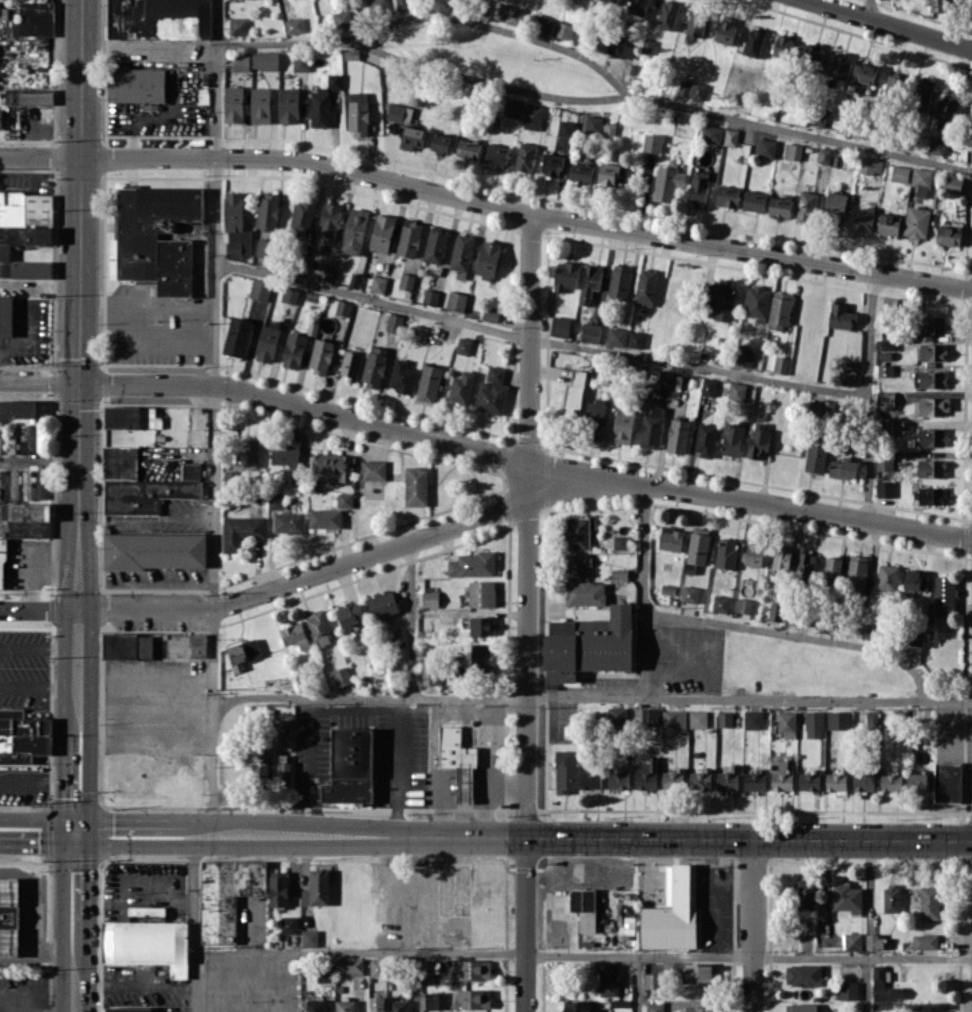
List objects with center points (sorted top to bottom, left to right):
building: (611, 2)
building: (456, 3)
building: (403, 4)
building: (376, 5)
building: (939, 5)
building: (638, 7)
road: (867, 8)
building: (511, 14)
building: (667, 14)
building: (35, 19)
building: (159, 19)
building: (342, 19)
building: (542, 24)
building: (696, 24)
road: (892, 24)
building: (294, 25)
building: (238, 26)
road: (497, 30)
building: (562, 30)
building: (725, 30)
road: (285, 41)
building: (753, 42)
building: (781, 45)
building: (622, 49)
building: (810, 54)
road: (150, 55)
building: (265, 60)
building: (240, 62)
building: (300, 62)
building: (839, 65)
road: (487, 80)
building: (138, 85)
building: (895, 86)
building: (684, 87)
building: (698, 90)
building: (923, 93)
building: (29, 96)
building: (323, 101)
building: (234, 104)
building: (261, 105)
building: (289, 105)
building: (512, 108)
building: (946, 108)
building: (399, 112)
building: (358, 113)
building: (533, 116)
building: (0, 118)
building: (593, 124)
building: (565, 128)
road: (801, 131)
building: (713, 133)
building: (412, 137)
building: (730, 137)
building: (441, 142)
building: (652, 142)
building: (934, 145)
building: (468, 148)
building: (766, 148)
building: (793, 151)
building: (496, 154)
building: (823, 155)
building: (525, 157)
building: (551, 164)
building: (871, 166)
building: (581, 172)
building: (609, 173)
building: (899, 173)
building: (921, 181)
building: (667, 182)
building: (951, 184)
building: (698, 186)
building: (727, 196)
building: (754, 200)
road: (487, 201)
building: (780, 205)
building: (806, 205)
building: (835, 205)
building: (268, 210)
building: (303, 214)
building: (862, 219)
building: (329, 221)
building: (917, 222)
building: (888, 223)
building: (236, 226)
building: (25, 231)
building: (355, 231)
building: (382, 233)
building: (157, 235)
building: (948, 235)
building: (409, 238)
building: (436, 245)
building: (265, 248)
building: (462, 255)
building: (488, 259)
building: (565, 275)
building: (619, 280)
building: (406, 281)
building: (590, 281)
building: (378, 284)
building: (646, 287)
building: (260, 289)
building: (290, 295)
building: (430, 297)
building: (456, 301)
building: (721, 302)
building: (757, 302)
road: (148, 303)
building: (343, 307)
building: (779, 310)
building: (490, 313)
building: (6, 316)
building: (841, 316)
building: (395, 323)
building: (932, 324)
building: (560, 326)
building: (590, 332)
building: (420, 333)
building: (237, 336)
building: (616, 336)
building: (635, 339)
building: (268, 340)
road: (538, 340)
building: (888, 344)
building: (463, 345)
building: (294, 350)
building: (930, 351)
building: (321, 356)
building: (350, 364)
building: (781, 364)
road: (79, 365)
building: (374, 366)
building: (885, 370)
building: (847, 376)
building: (402, 377)
building: (666, 378)
building: (929, 379)
building: (429, 382)
traffic signals: (79, 384)
building: (708, 386)
building: (461, 388)
building: (493, 390)
building: (737, 391)
building: (574, 393)
road: (866, 395)
building: (885, 400)
building: (931, 406)
building: (827, 407)
building: (18, 408)
building: (132, 417)
road: (214, 417)
building: (595, 419)
building: (623, 426)
building: (651, 426)
building: (0, 434)
building: (678, 435)
building: (931, 437)
building: (706, 439)
building: (732, 439)
building: (759, 440)
road: (486, 449)
building: (249, 453)
building: (285, 454)
road: (39, 458)
building: (816, 458)
building: (885, 460)
building: (120, 462)
building: (332, 465)
building: (843, 468)
building: (931, 468)
building: (373, 469)
building: (14, 482)
building: (416, 485)
building: (884, 488)
building: (27, 490)
building: (150, 491)
building: (929, 495)
building: (345, 499)
building: (275, 500)
building: (325, 518)
building: (27, 519)
building: (289, 522)
building: (240, 531)
building: (579, 531)
building: (670, 538)
building: (621, 541)
building: (698, 545)
building: (155, 550)
building: (726, 553)
building: (753, 554)
building: (782, 558)
building: (2, 562)
building: (472, 564)
building: (578, 565)
building: (805, 565)
building: (833, 566)
building: (856, 571)
building: (619, 574)
road: (318, 575)
building: (887, 576)
building: (916, 580)
building: (482, 593)
building: (585, 593)
building: (690, 594)
building: (944, 595)
building: (430, 598)
building: (721, 603)
building: (383, 604)
building: (744, 605)
road: (529, 611)
building: (776, 611)
building: (351, 614)
road: (412, 620)
building: (830, 622)
building: (482, 625)
road: (737, 626)
building: (318, 627)
building: (295, 635)
building: (155, 645)
building: (589, 645)
road: (38, 649)
building: (243, 652)
building: (481, 656)
building: (429, 675)
building: (341, 676)
road: (38, 687)
road: (371, 698)
road: (750, 698)
building: (647, 715)
building: (617, 717)
building: (674, 718)
building: (698, 718)
building: (725, 719)
building: (753, 719)
building: (871, 719)
building: (839, 720)
building: (787, 723)
building: (814, 724)
building: (281, 734)
road: (144, 745)
building: (458, 760)
building: (351, 766)
road: (306, 767)
road: (397, 767)
building: (284, 768)
road: (437, 768)
building: (260, 770)
building: (565, 771)
building: (646, 774)
building: (590, 776)
building: (781, 776)
road: (37, 778)
building: (728, 778)
building: (618, 779)
building: (673, 779)
building: (700, 779)
building: (837, 779)
building: (755, 780)
building: (809, 781)
building: (864, 781)
building: (891, 781)
building: (946, 781)
road: (76, 782)
building: (918, 782)
road: (484, 800)
road: (40, 816)
road: (480, 820)
traffic signals: (76, 834)
road: (523, 837)
road: (38, 844)
building: (279, 888)
building: (317, 888)
road: (76, 893)
building: (805, 894)
building: (227, 895)
building: (848, 898)
building: (891, 898)
building: (930, 902)
building: (584, 908)
building: (146, 910)
building: (672, 912)
building: (9, 916)
road: (194, 923)
building: (289, 924)
road: (754, 925)
building: (310, 938)
building: (852, 941)
building: (875, 941)
building: (925, 941)
building: (147, 944)
road: (9, 949)
road: (47, 951)
road: (474, 955)
road: (862, 957)
building: (349, 965)
building: (377, 967)
building: (427, 969)
building: (472, 969)
building: (324, 973)
building: (701, 973)
building: (804, 975)
building: (652, 980)
road: (76, 982)
road: (415, 983)
building: (609, 983)
road: (637, 984)
road: (866, 985)
building: (848, 990)
building: (472, 998)
building: (429, 1000)
building: (377, 1004)
building: (315, 1005)
building: (345, 1005)
building: (398, 1005)
building: (577, 1006)
building: (655, 1006)
road: (8, 1007)
building: (802, 1007)
building: (128, 1009)
building: (700, 1009)
building: (928, 1011)

